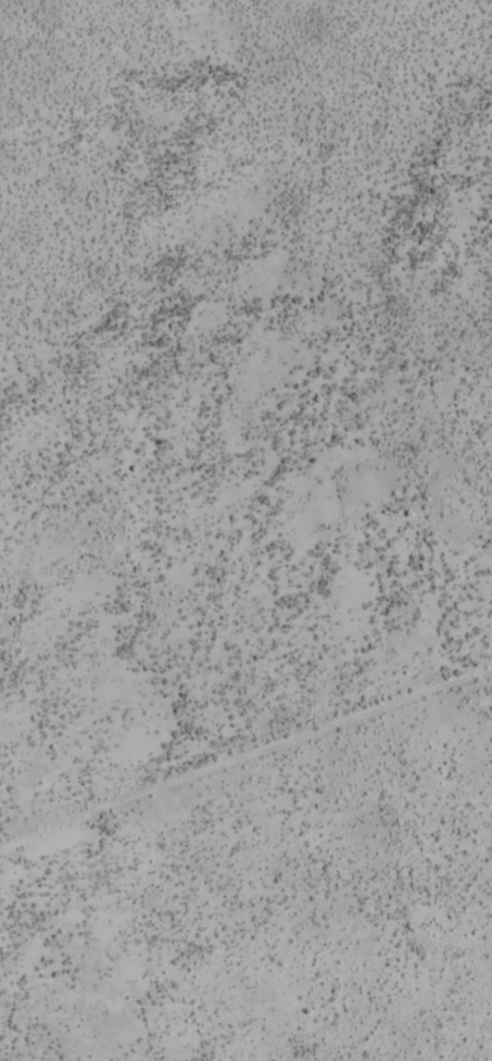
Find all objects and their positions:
road: (243, 772)

